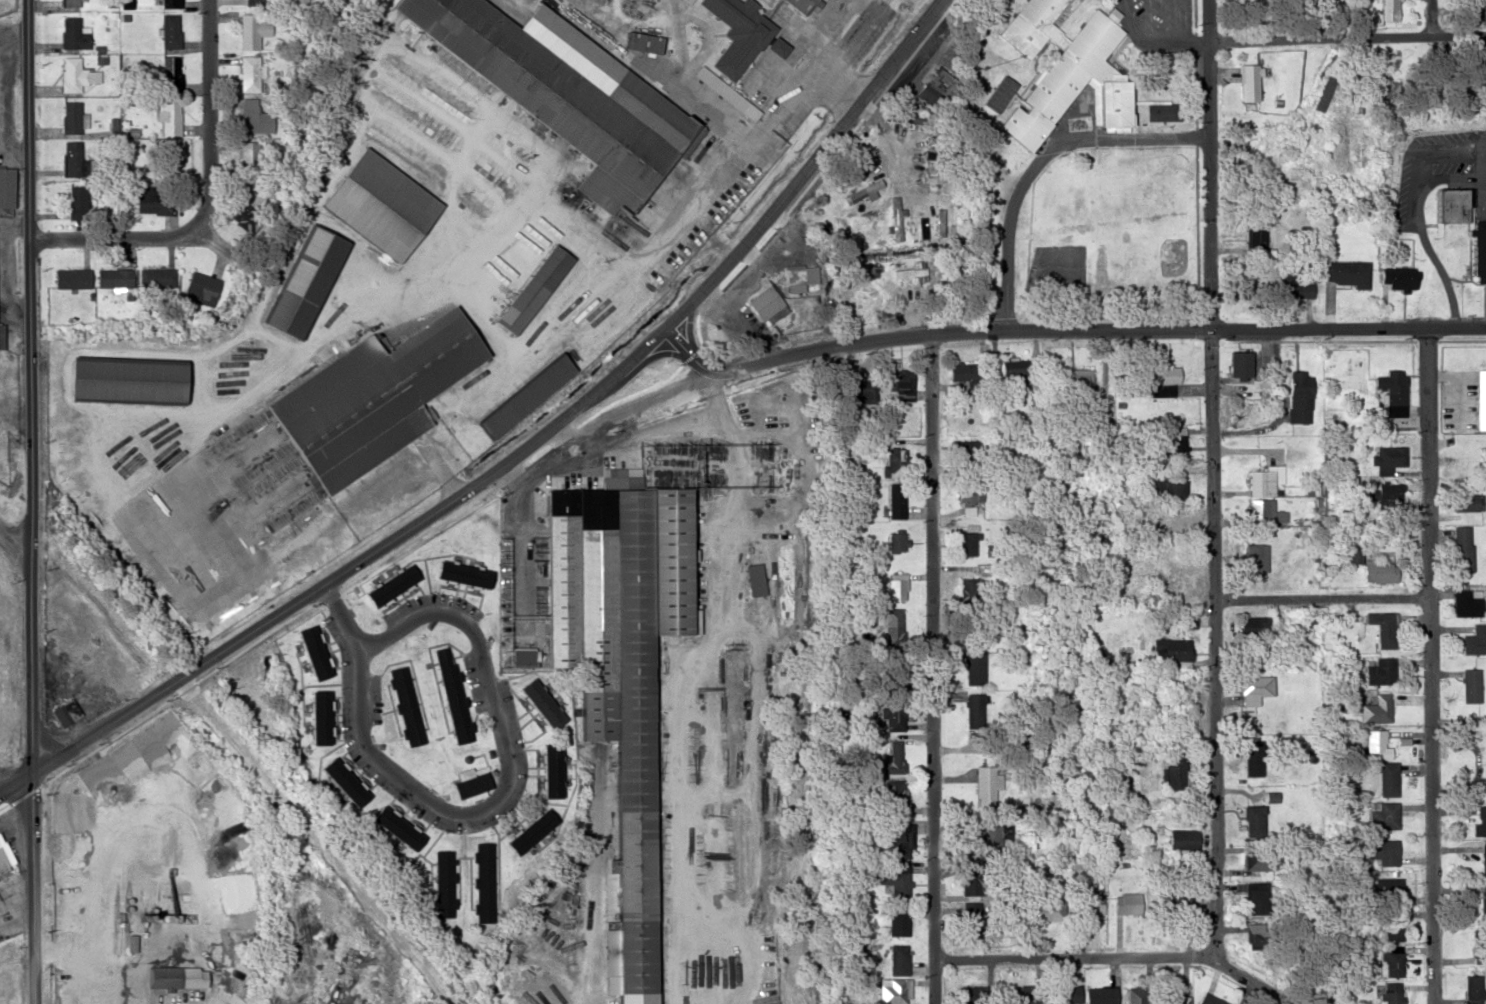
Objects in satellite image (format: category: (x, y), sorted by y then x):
building: (251, 2)
building: (71, 3)
building: (169, 3)
building: (799, 3)
building: (1391, 9)
road: (1432, 18)
parking lot: (1165, 20)
building: (170, 29)
building: (252, 29)
building: (74, 32)
building: (737, 33)
road: (1349, 38)
building: (775, 46)
building: (1069, 64)
building: (252, 70)
building: (170, 72)
building: (76, 74)
building: (1249, 81)
building: (1326, 93)
building: (723, 94)
building: (560, 98)
building: (1163, 111)
road: (210, 115)
building: (70, 116)
building: (171, 116)
building: (257, 123)
building: (1269, 132)
building: (1364, 154)
building: (249, 155)
road: (1040, 158)
building: (74, 160)
building: (857, 163)
building: (1249, 168)
building: (1298, 182)
building: (5, 187)
building: (76, 201)
building: (152, 203)
building: (377, 204)
building: (1450, 204)
road: (1416, 211)
building: (243, 214)
building: (895, 218)
park: (1112, 224)
road: (115, 236)
building: (1478, 247)
road: (235, 253)
building: (910, 271)
building: (1344, 272)
building: (793, 275)
building: (1246, 276)
building: (71, 277)
building: (114, 277)
building: (155, 277)
building: (1397, 278)
building: (300, 282)
building: (1294, 285)
building: (199, 287)
building: (529, 289)
building: (766, 305)
road: (986, 331)
building: (1238, 364)
building: (1008, 368)
building: (966, 373)
building: (120, 380)
building: (1162, 380)
road: (32, 381)
building: (900, 385)
building: (1073, 386)
building: (859, 391)
building: (1393, 391)
building: (519, 395)
building: (1299, 397)
building: (367, 398)
building: (1481, 398)
building: (1251, 404)
building: (1176, 443)
road: (521, 451)
building: (1388, 456)
building: (894, 461)
road: (1216, 479)
building: (1265, 480)
building: (1167, 489)
building: (969, 495)
building: (1385, 496)
building: (896, 500)
building: (1464, 502)
building: (1263, 511)
road: (14, 538)
building: (895, 541)
building: (1461, 549)
building: (1350, 554)
building: (1253, 559)
building: (1377, 571)
building: (460, 573)
building: (753, 578)
building: (1183, 580)
building: (387, 584)
building: (897, 585)
building: (967, 588)
road: (1323, 597)
building: (1465, 603)
road: (437, 610)
road: (347, 617)
building: (894, 625)
building: (1254, 625)
building: (1382, 628)
building: (1475, 639)
building: (1167, 649)
building: (311, 650)
building: (520, 656)
building: (613, 663)
road: (1430, 666)
building: (975, 667)
road: (934, 668)
building: (1380, 670)
building: (1471, 685)
building: (1253, 687)
building: (452, 693)
building: (538, 702)
building: (404, 704)
building: (1379, 706)
building: (65, 711)
building: (976, 714)
building: (317, 716)
building: (894, 718)
building: (1377, 743)
building: (895, 755)
building: (550, 770)
building: (1175, 773)
building: (1388, 778)
building: (341, 781)
building: (986, 784)
building: (467, 788)
building: (898, 800)
building: (1383, 814)
building: (1250, 819)
building: (1480, 822)
building: (394, 827)
building: (528, 831)
building: (991, 837)
building: (901, 838)
building: (1180, 838)
building: (1384, 851)
building: (4, 856)
building: (1255, 856)
building: (1483, 859)
building: (899, 879)
building: (977, 879)
building: (482, 881)
building: (443, 883)
road: (36, 884)
building: (1389, 890)
building: (1253, 898)
building: (1088, 900)
building: (1173, 900)
building: (1484, 901)
building: (1127, 902)
building: (1047, 909)
building: (972, 922)
building: (898, 923)
building: (1391, 927)
building: (1250, 933)
building: (898, 959)
road: (1073, 960)
building: (1393, 960)
building: (170, 976)
road: (1255, 981)
building: (1474, 987)
building: (898, 990)
building: (1067, 993)
building: (1393, 993)
building: (978, 994)
building: (1024, 994)
building: (1100, 994)
building: (1137, 994)
building: (1171, 995)
building: (1208, 999)

